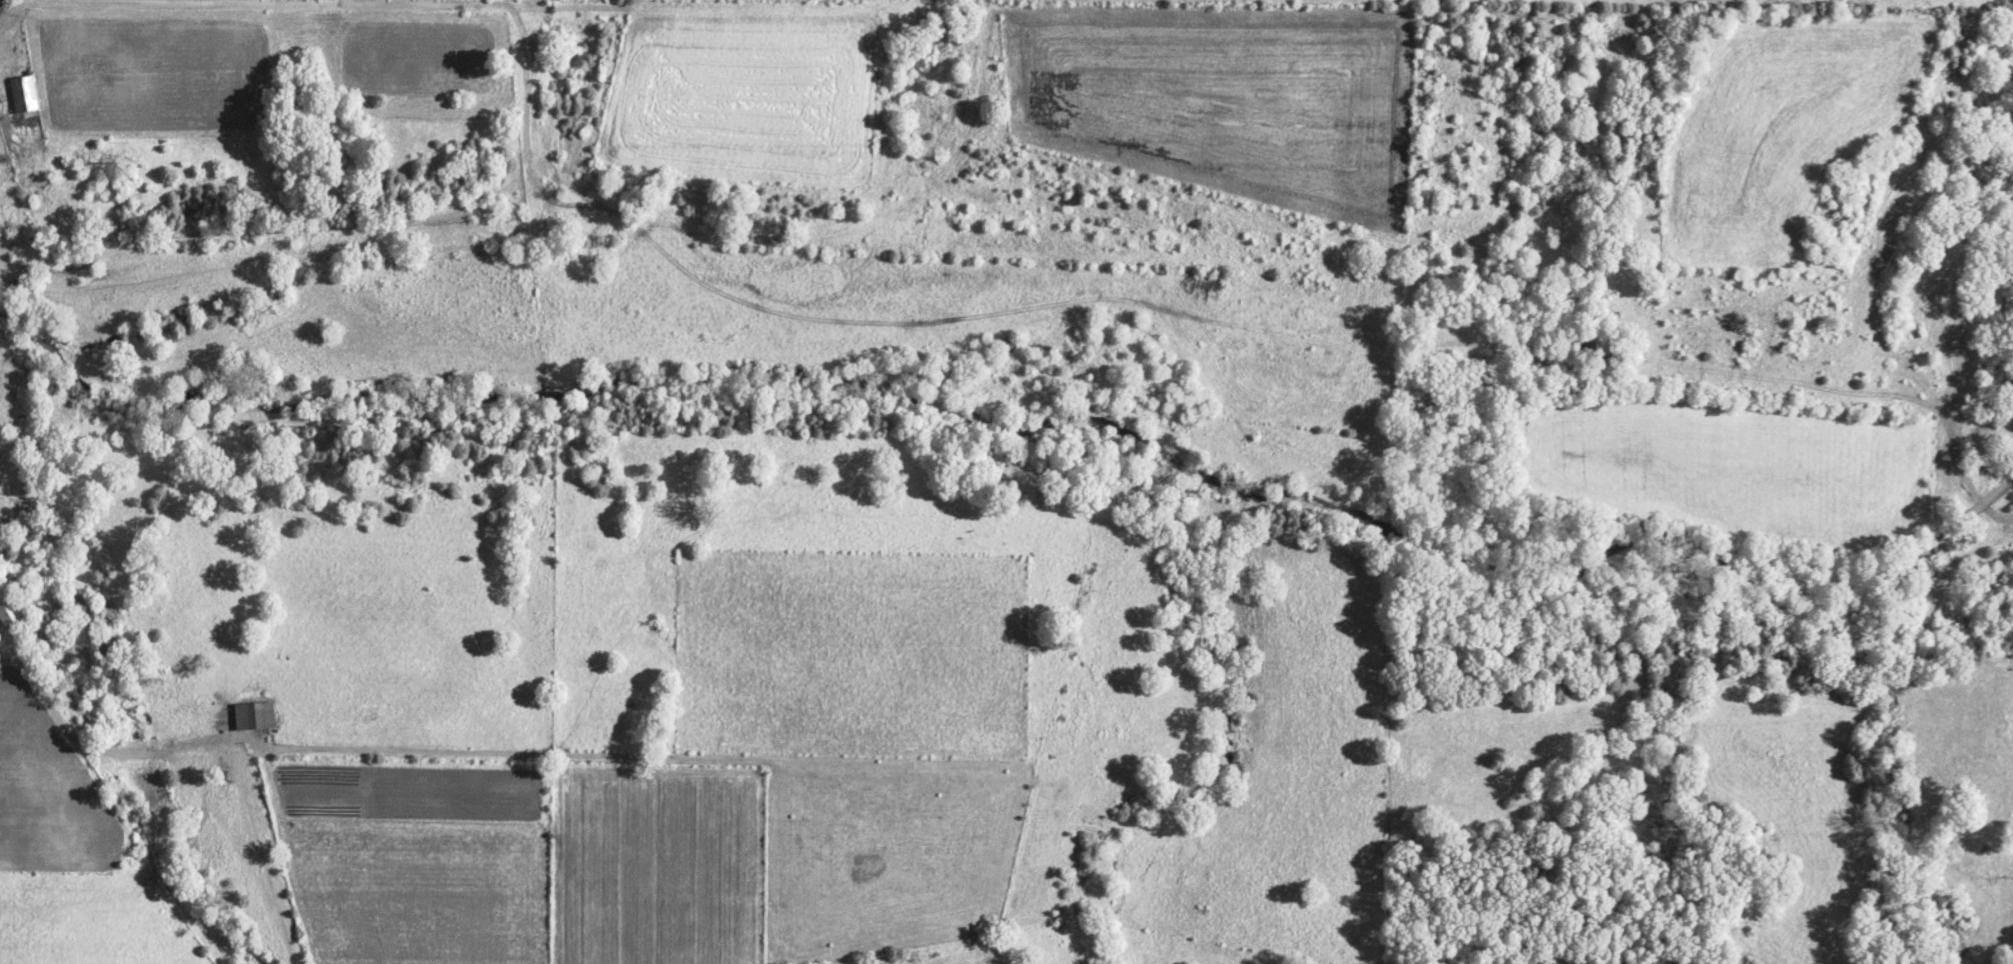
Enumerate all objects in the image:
building: (23, 94)
building: (6, 610)
building: (253, 716)
road: (85, 742)

